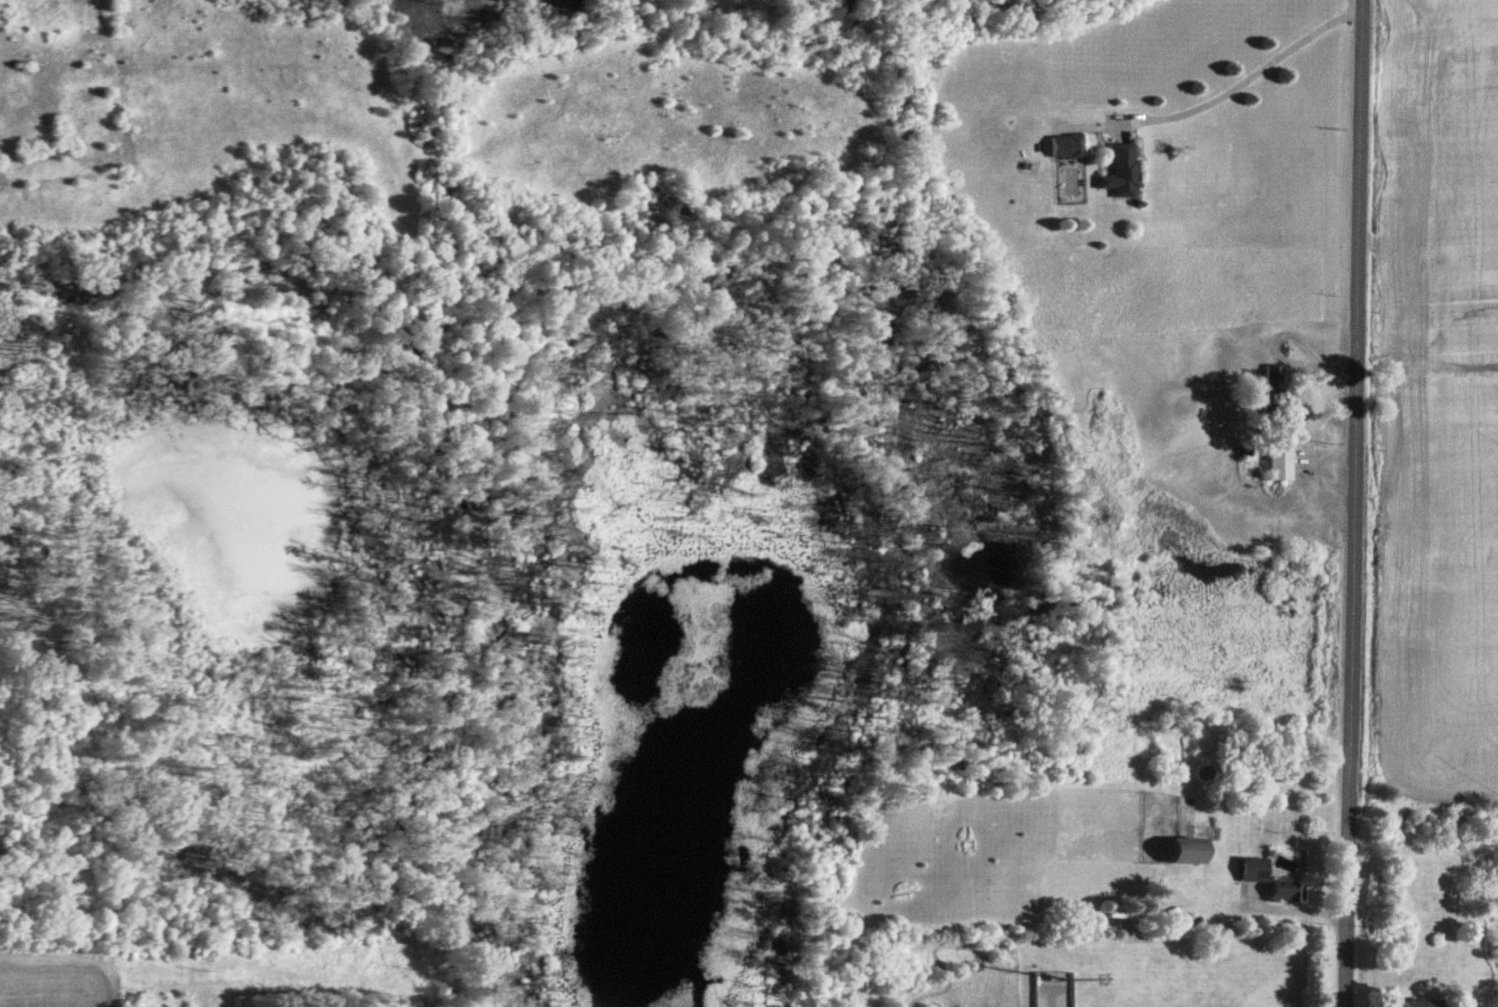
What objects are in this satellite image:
road: (1255, 74)
building: (1067, 146)
building: (1122, 172)
building: (1275, 383)
building: (1281, 463)
road: (1354, 503)
building: (1189, 852)
building: (1255, 870)
building: (1289, 891)
road: (1295, 906)
building: (1423, 1002)

